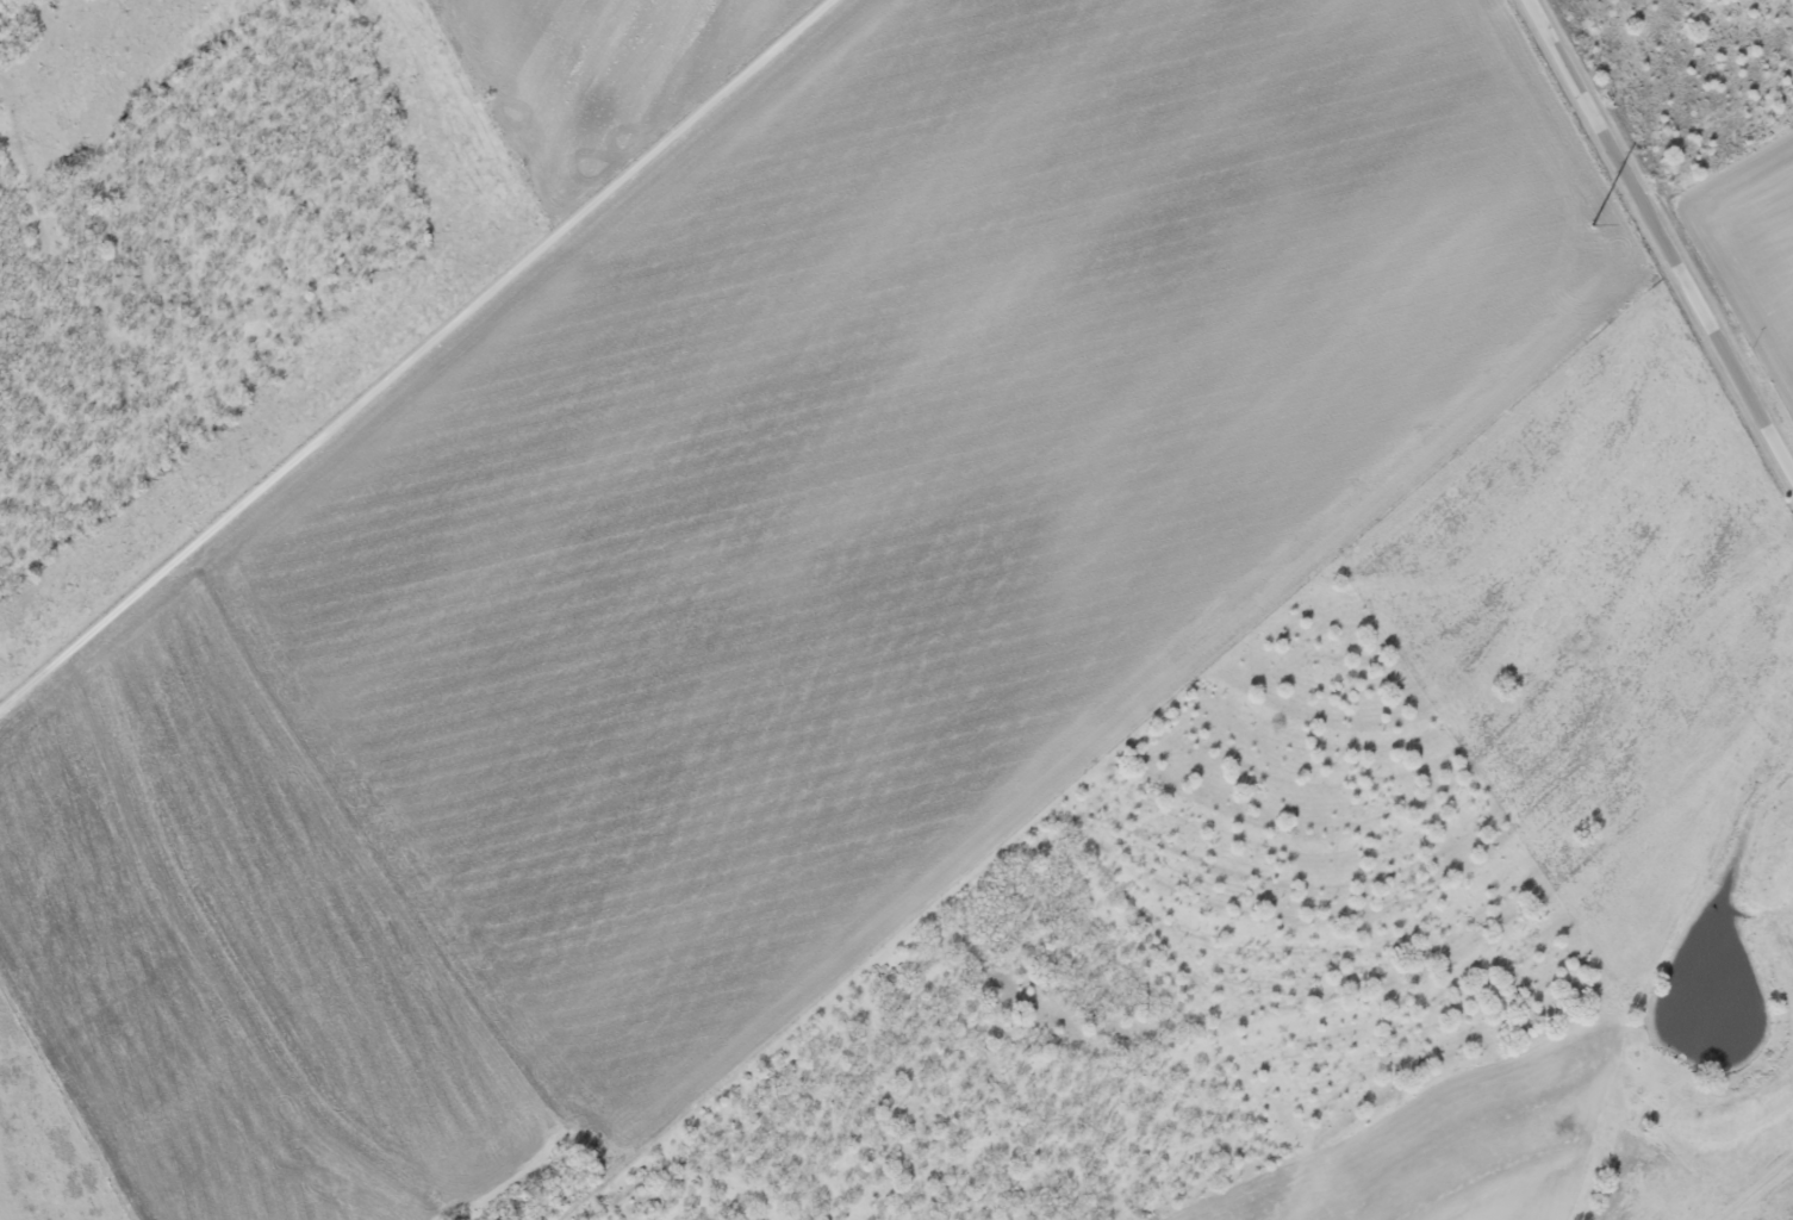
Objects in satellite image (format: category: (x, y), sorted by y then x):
power tower: (1589, 228)
road: (1661, 238)
road: (415, 355)
road: (1754, 1187)

